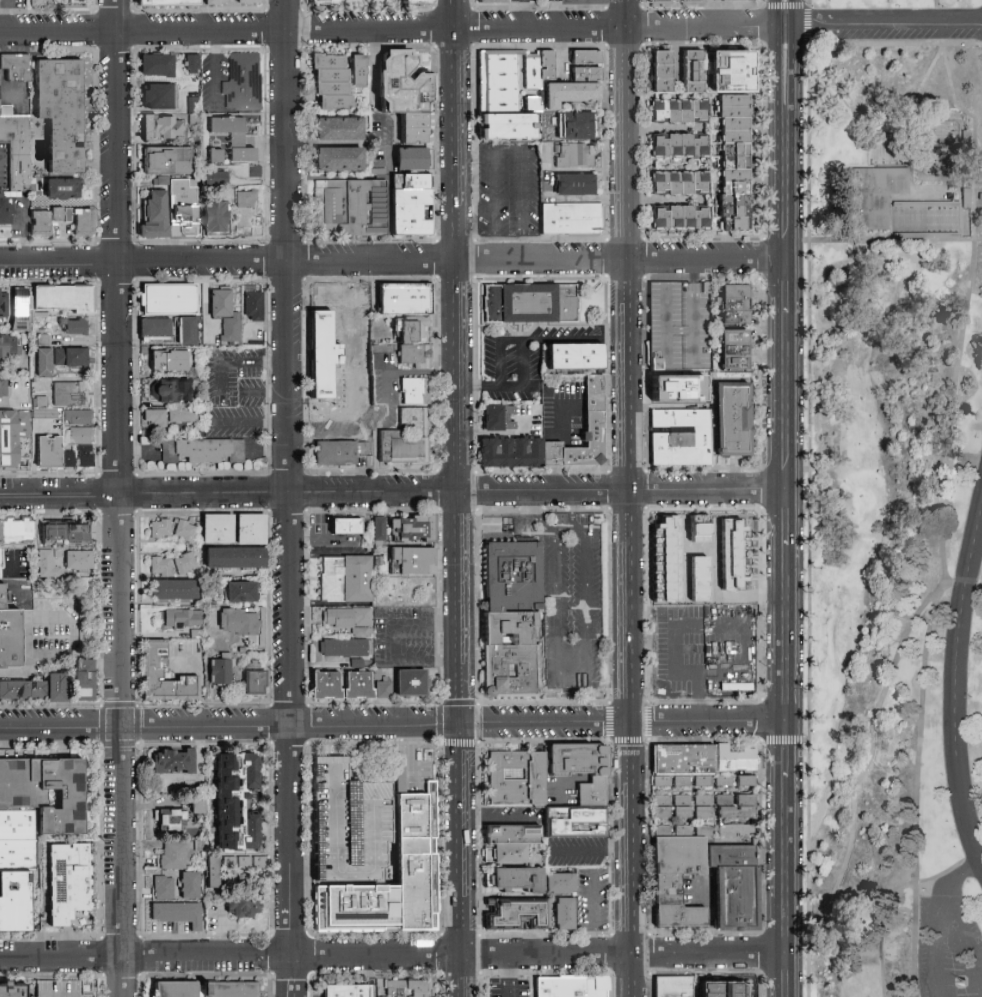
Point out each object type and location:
building: (493, 0)
building: (735, 0)
building: (218, 2)
building: (247, 2)
building: (323, 2)
building: (415, 2)
building: (585, 2)
building: (672, 2)
road: (809, 2)
building: (37, 3)
building: (167, 3)
road: (937, 9)
road: (523, 13)
road: (554, 13)
road: (705, 13)
road: (4, 14)
road: (884, 19)
road: (388, 28)
building: (585, 57)
building: (192, 64)
building: (157, 65)
building: (16, 67)
building: (536, 68)
road: (213, 70)
building: (356, 71)
building: (660, 71)
building: (692, 71)
building: (730, 71)
road: (1, 76)
building: (406, 80)
building: (331, 82)
building: (245, 83)
building: (891, 85)
building: (573, 87)
road: (918, 91)
building: (159, 96)
building: (500, 98)
road: (837, 98)
building: (530, 104)
building: (192, 105)
building: (678, 111)
building: (67, 114)
building: (578, 124)
building: (161, 128)
building: (338, 129)
building: (418, 131)
building: (233, 137)
building: (678, 145)
road: (508, 146)
building: (14, 153)
road: (979, 154)
building: (214, 155)
building: (576, 156)
building: (415, 158)
building: (338, 159)
building: (167, 161)
building: (733, 163)
building: (214, 178)
building: (679, 183)
building: (578, 184)
building: (63, 188)
road: (387, 189)
building: (966, 197)
building: (872, 199)
building: (243, 202)
building: (935, 204)
building: (354, 205)
building: (415, 205)
building: (6, 213)
building: (188, 213)
building: (155, 216)
building: (215, 218)
building: (678, 218)
building: (75, 219)
building: (574, 219)
building: (39, 224)
road: (26, 231)
road: (896, 241)
road: (117, 246)
road: (395, 260)
road: (968, 296)
building: (409, 298)
building: (62, 299)
building: (167, 299)
building: (220, 303)
building: (533, 304)
building: (738, 305)
building: (4, 306)
building: (252, 307)
building: (20, 311)
road: (457, 312)
road: (692, 312)
building: (73, 327)
building: (154, 327)
road: (666, 327)
building: (230, 329)
building: (187, 331)
road: (680, 331)
road: (522, 343)
building: (414, 345)
building: (8, 347)
road: (499, 351)
building: (343, 352)
building: (737, 352)
building: (70, 357)
building: (169, 360)
road: (238, 361)
building: (575, 361)
building: (44, 362)
building: (657, 362)
road: (421, 373)
building: (682, 388)
building: (3, 389)
building: (169, 391)
road: (270, 391)
road: (253, 392)
building: (68, 393)
building: (417, 393)
building: (592, 405)
building: (45, 412)
building: (180, 416)
building: (77, 417)
building: (153, 418)
building: (498, 418)
building: (735, 421)
road: (248, 423)
road: (384, 424)
road: (565, 428)
building: (12, 434)
road: (810, 435)
road: (323, 438)
building: (684, 438)
building: (410, 439)
building: (80, 444)
building: (48, 452)
building: (202, 452)
building: (338, 453)
road: (551, 454)
building: (68, 459)
road: (289, 477)
road: (551, 478)
road: (455, 491)
road: (58, 493)
park: (898, 496)
road: (628, 498)
road: (778, 498)
road: (793, 498)
road: (571, 510)
road: (537, 514)
building: (346, 526)
building: (160, 529)
building: (217, 529)
building: (378, 529)
building: (411, 529)
building: (250, 530)
building: (184, 531)
building: (16, 532)
building: (64, 533)
road: (322, 538)
building: (701, 557)
building: (235, 558)
building: (413, 560)
building: (0, 562)
building: (62, 562)
building: (185, 563)
building: (161, 566)
building: (345, 579)
building: (175, 590)
building: (241, 592)
building: (182, 619)
building: (346, 619)
building: (510, 619)
road: (82, 620)
building: (238, 622)
road: (747, 624)
building: (11, 628)
road: (393, 643)
road: (459, 643)
building: (345, 647)
building: (358, 661)
building: (219, 668)
building: (152, 671)
road: (24, 675)
building: (253, 679)
road: (585, 679)
building: (83, 680)
building: (411, 683)
building: (326, 686)
building: (357, 686)
road: (954, 687)
building: (36, 688)
building: (383, 689)
road: (459, 691)
road: (625, 721)
traffic signals: (459, 722)
road: (229, 723)
road: (120, 744)
road: (873, 746)
building: (582, 757)
building: (738, 757)
building: (172, 762)
building: (685, 763)
building: (517, 776)
road: (583, 778)
building: (725, 779)
building: (748, 779)
building: (595, 790)
road: (916, 793)
building: (235, 801)
building: (197, 806)
building: (682, 806)
building: (703, 806)
building: (662, 807)
building: (736, 807)
building: (38, 809)
building: (169, 820)
road: (498, 822)
building: (581, 827)
building: (736, 831)
building: (513, 840)
road: (590, 851)
building: (370, 855)
building: (171, 856)
building: (680, 856)
road: (460, 859)
building: (243, 862)
building: (212, 871)
building: (514, 880)
building: (249, 881)
building: (67, 882)
building: (559, 883)
building: (736, 885)
building: (189, 886)
building: (163, 888)
road: (946, 893)
road: (894, 899)
building: (674, 904)
building: (14, 906)
road: (871, 906)
building: (243, 907)
road: (707, 911)
road: (592, 913)
building: (177, 914)
building: (563, 914)
building: (517, 919)
road: (220, 927)
road: (945, 941)
parking lot: (948, 949)
road: (396, 955)
road: (292, 976)
road: (497, 976)
road: (527, 976)
flagpole: (961, 984)
building: (573, 985)
building: (675, 986)
building: (65, 988)
building: (407, 988)
building: (205, 989)
building: (13, 992)
building: (349, 993)

